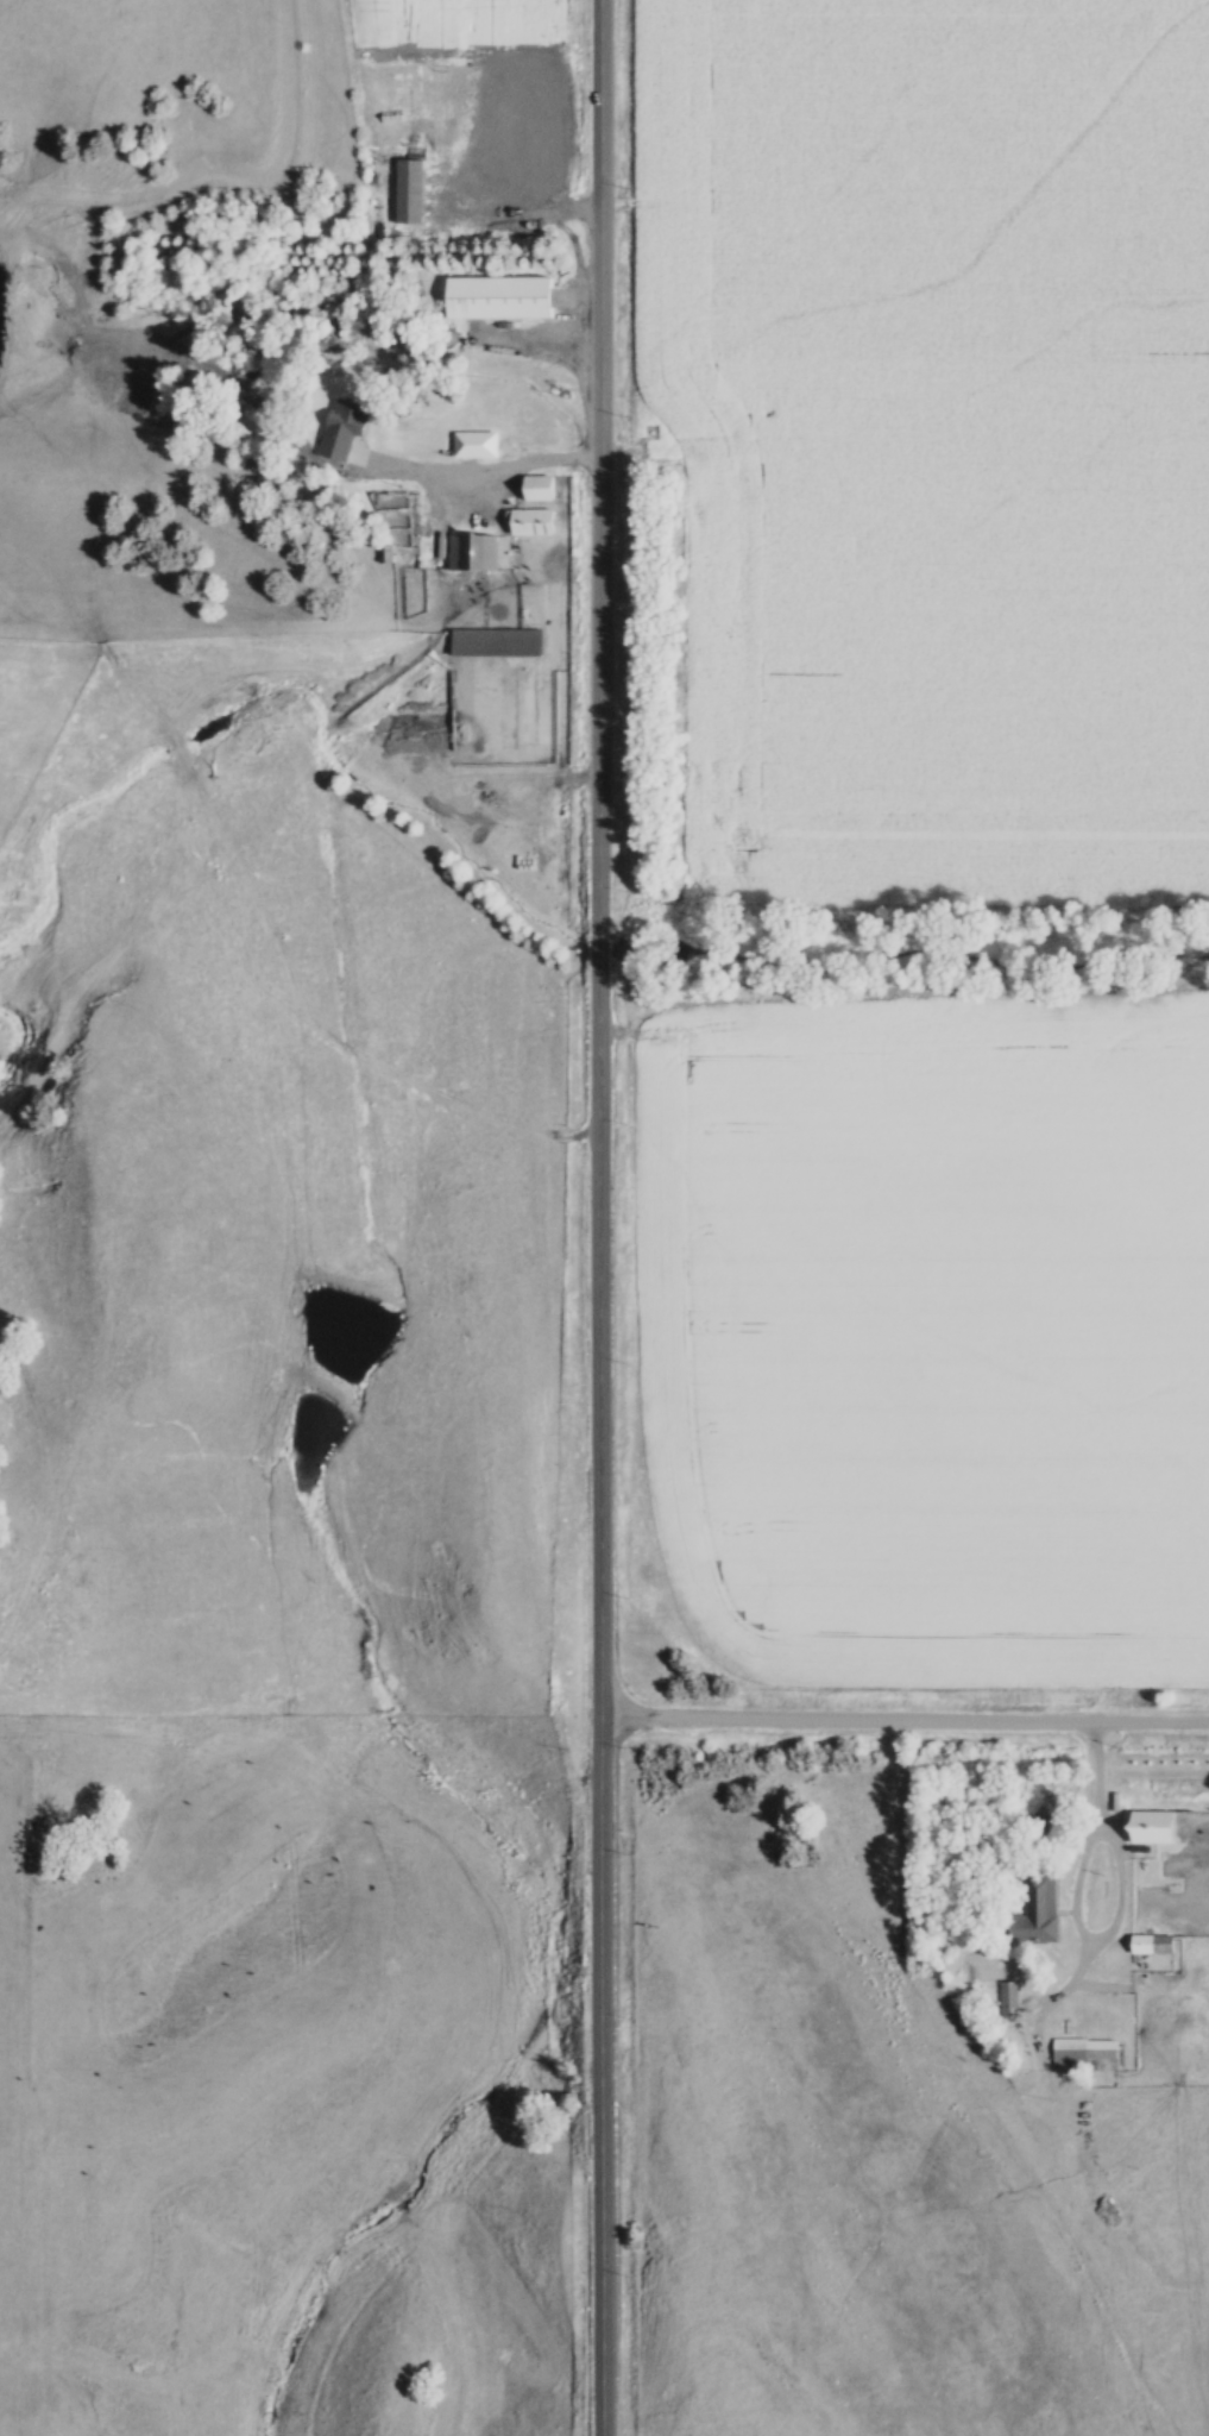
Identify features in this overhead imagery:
building: (410, 190)
building: (497, 297)
building: (476, 444)
road: (480, 464)
building: (539, 488)
building: (476, 552)
building: (496, 640)
road: (602, 1217)
road: (906, 1718)
road: (1096, 1765)
building: (1153, 1828)
road: (1079, 1926)

